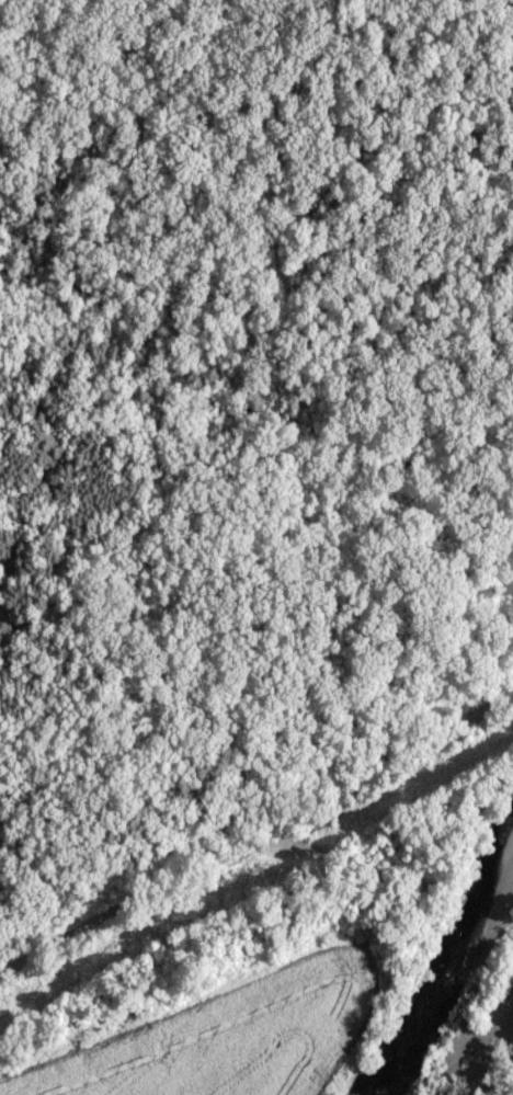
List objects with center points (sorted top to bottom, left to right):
road: (399, 761)
road: (216, 857)
river: (443, 961)

